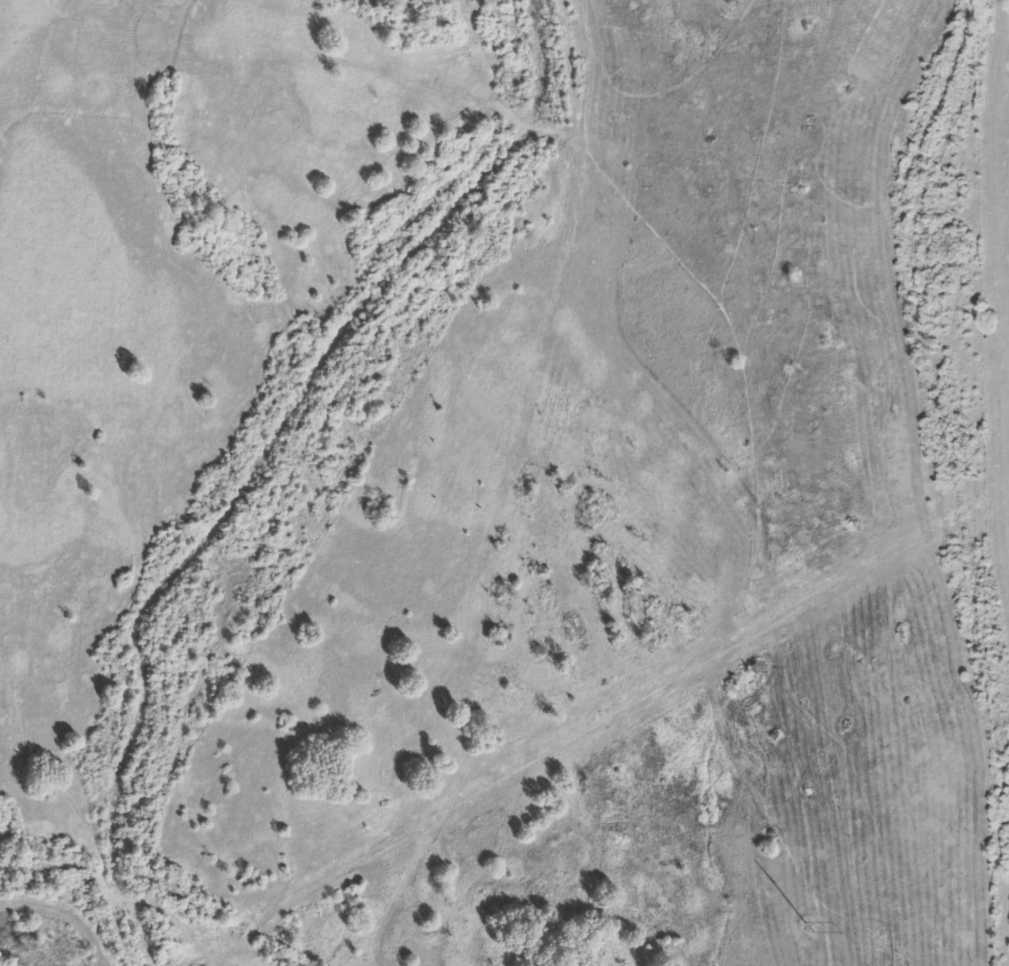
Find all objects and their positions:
power tower: (805, 923)

